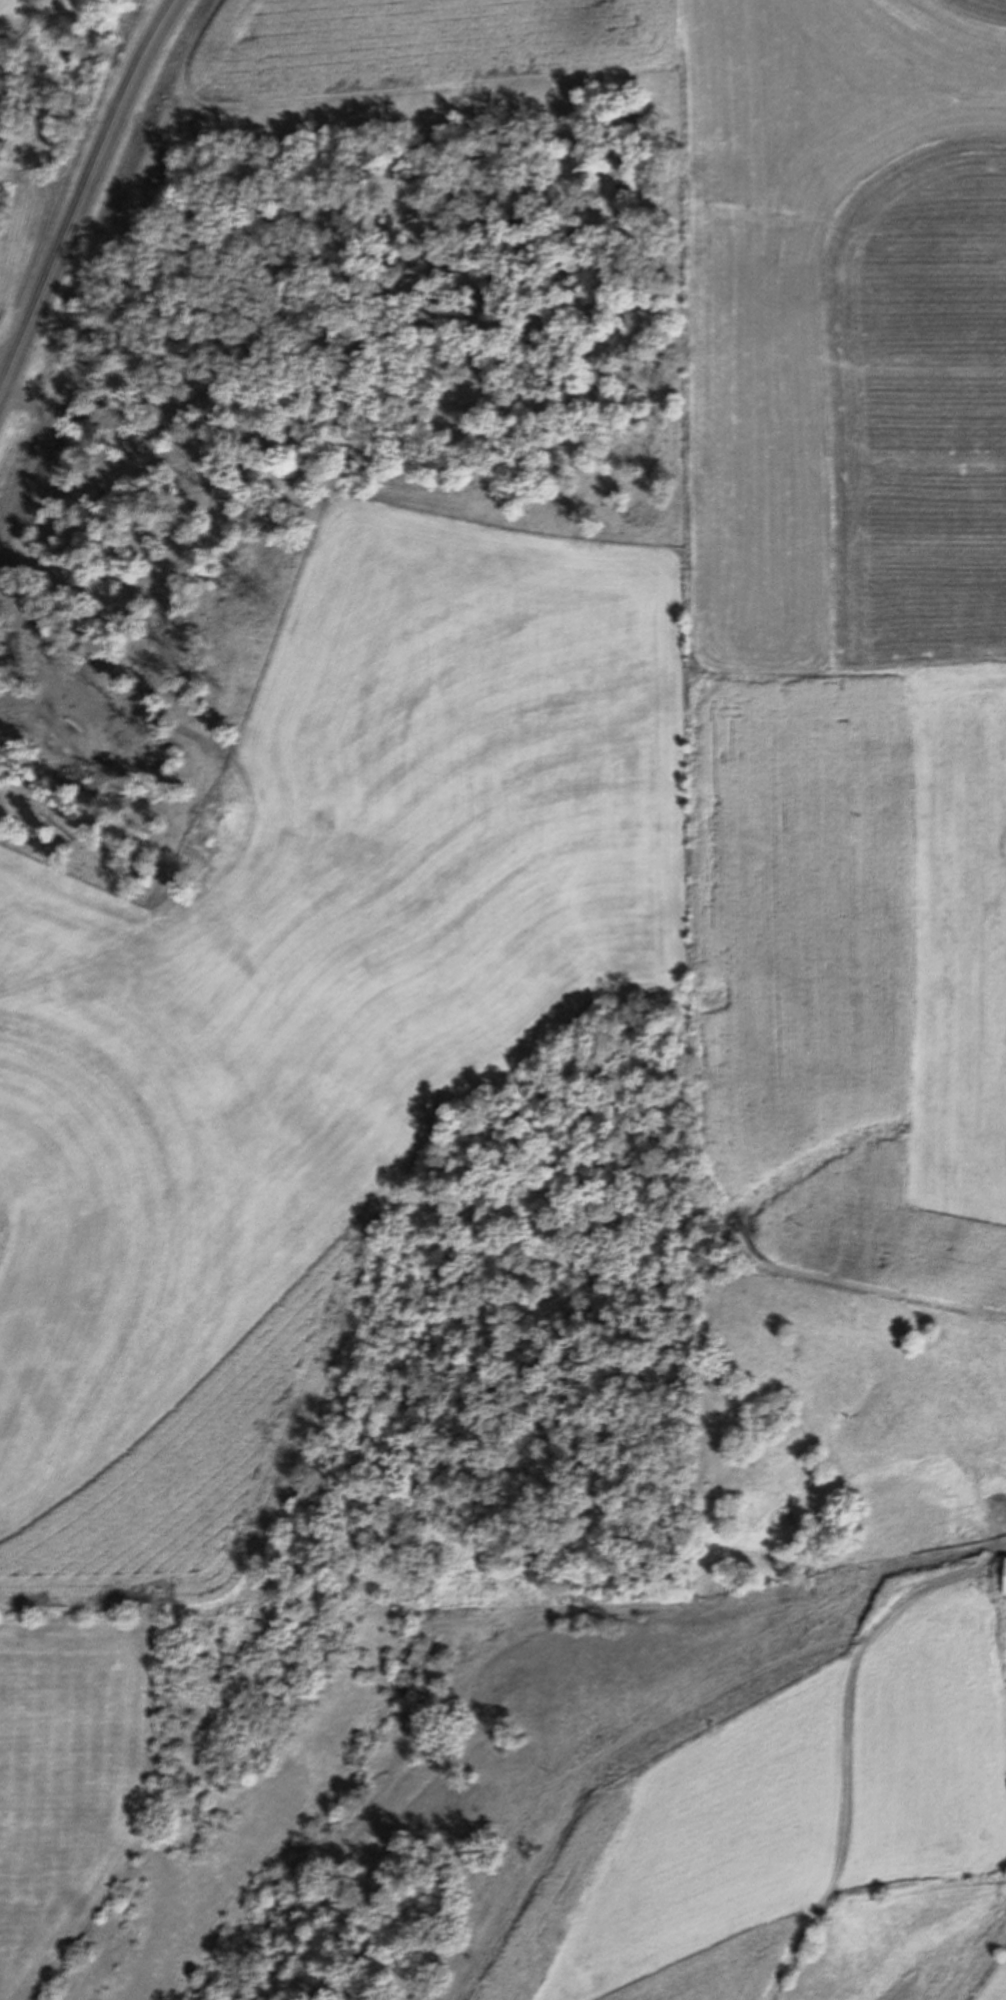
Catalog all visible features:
road: (89, 203)
road: (18, 336)
building: (1004, 1579)

